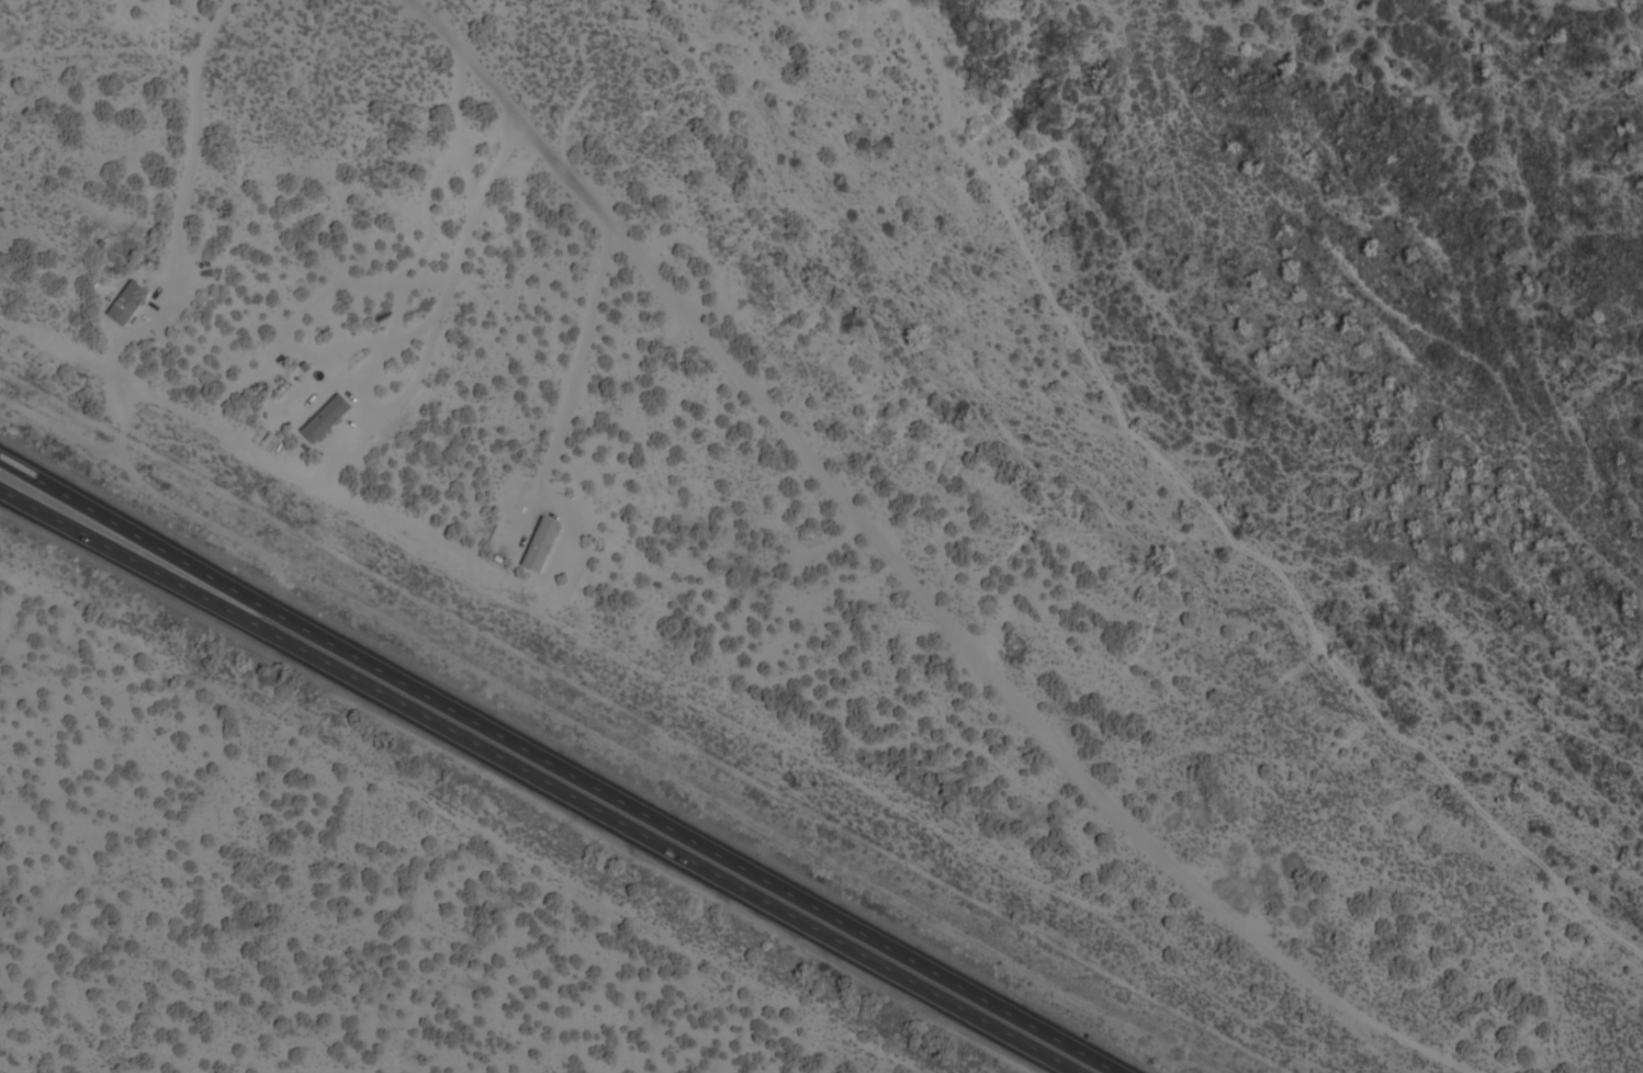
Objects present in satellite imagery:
building: (126, 304)
building: (530, 541)
road: (556, 767)
road: (536, 780)

